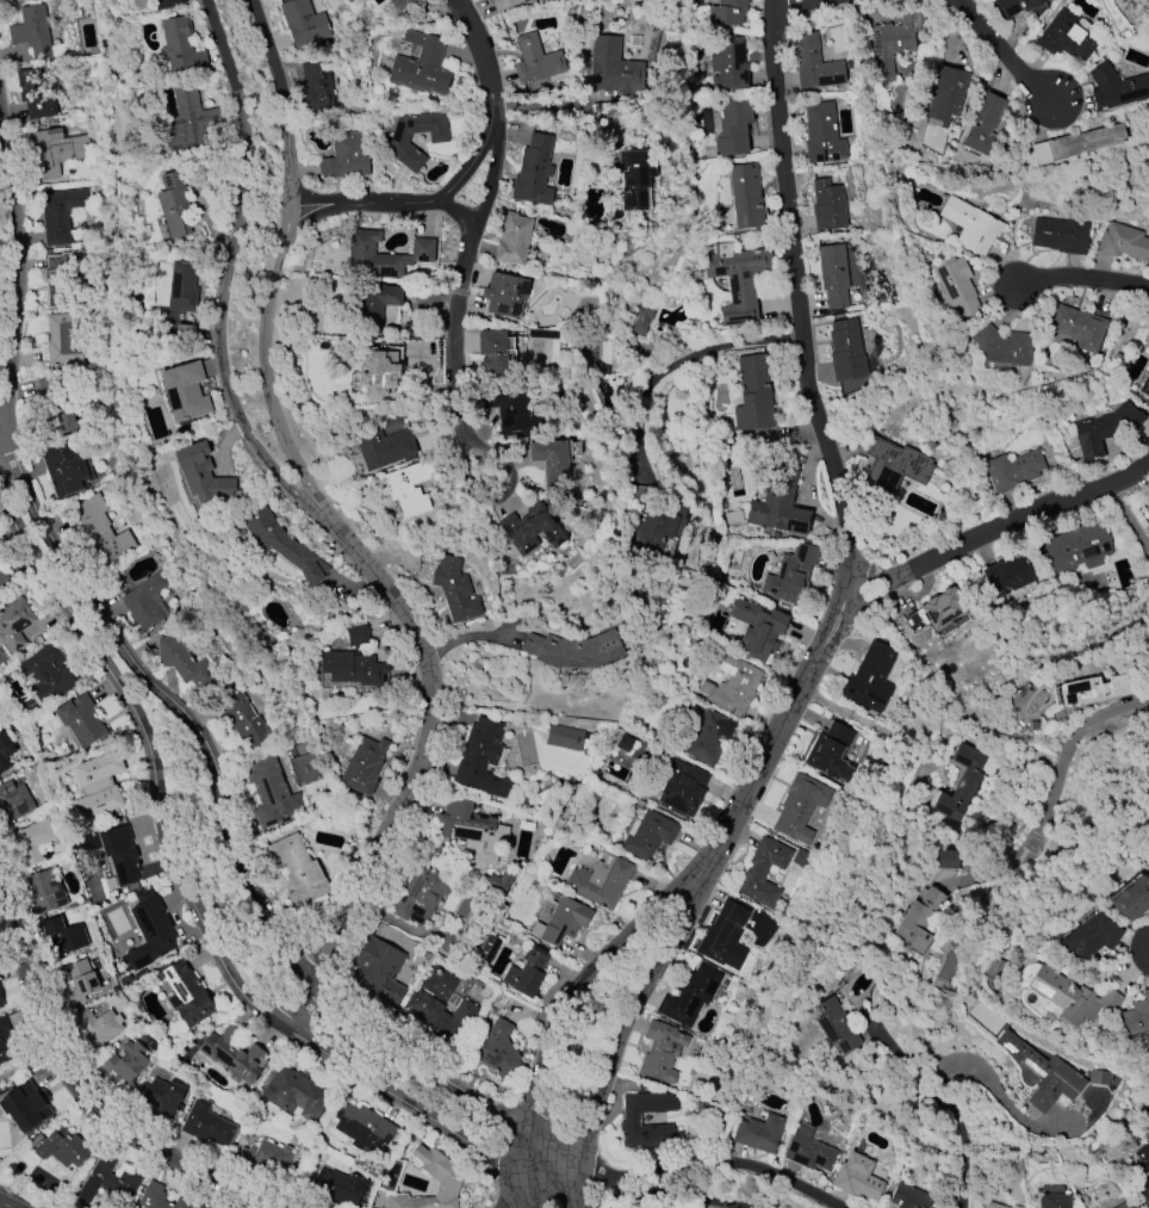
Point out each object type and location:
building: (167, 4)
building: (399, 4)
building: (505, 4)
road: (790, 4)
building: (1017, 6)
building: (727, 12)
building: (303, 23)
building: (31, 31)
building: (1066, 37)
building: (893, 42)
building: (181, 47)
road: (480, 51)
road: (1002, 51)
building: (535, 60)
building: (728, 64)
building: (421, 66)
building: (815, 66)
building: (614, 68)
building: (317, 87)
building: (1116, 88)
building: (33, 94)
building: (945, 94)
road: (554, 106)
building: (190, 119)
building: (733, 128)
building: (985, 128)
building: (822, 134)
building: (439, 138)
building: (1077, 143)
building: (56, 150)
building: (344, 157)
road: (471, 161)
building: (533, 172)
building: (632, 176)
road: (491, 178)
building: (746, 196)
road: (356, 202)
building: (174, 205)
building: (828, 205)
building: (60, 213)
road: (458, 215)
building: (970, 225)
building: (1061, 235)
building: (513, 238)
building: (1124, 242)
building: (384, 255)
road: (278, 259)
road: (19, 262)
road: (226, 270)
building: (833, 275)
road: (1081, 277)
building: (62, 280)
building: (737, 280)
building: (956, 285)
building: (182, 286)
building: (504, 293)
road: (796, 295)
building: (375, 304)
building: (642, 320)
building: (1079, 326)
road: (453, 329)
building: (62, 341)
building: (1002, 346)
building: (513, 349)
building: (846, 351)
building: (493, 353)
road: (683, 361)
building: (379, 372)
building: (855, 385)
building: (1145, 386)
building: (185, 391)
building: (754, 394)
building: (57, 405)
building: (511, 411)
building: (1105, 429)
building: (383, 447)
building: (551, 463)
building: (894, 467)
building: (66, 470)
building: (1013, 470)
building: (203, 477)
building: (409, 488)
road: (498, 497)
building: (780, 503)
road: (1026, 513)
road: (1128, 519)
building: (657, 525)
building: (530, 528)
building: (101, 532)
building: (279, 543)
building: (1079, 547)
building: (790, 572)
road: (876, 575)
building: (1008, 575)
building: (4, 580)
building: (455, 590)
road: (876, 595)
building: (145, 603)
building: (943, 608)
building: (14, 624)
building: (758, 628)
road: (464, 638)
building: (573, 650)
building: (353, 662)
building: (184, 663)
building: (48, 674)
building: (870, 679)
building: (732, 687)
building: (1089, 690)
road: (789, 707)
road: (1097, 717)
building: (243, 719)
building: (80, 720)
building: (708, 737)
building: (564, 738)
building: (831, 751)
building: (5, 752)
road: (154, 754)
building: (483, 758)
building: (364, 766)
road: (417, 766)
building: (961, 782)
building: (98, 786)
building: (683, 789)
building: (271, 793)
building: (14, 803)
building: (800, 807)
building: (472, 831)
building: (648, 835)
building: (31, 842)
road: (1037, 843)
building: (120, 853)
road: (231, 856)
building: (948, 860)
building: (297, 871)
building: (1148, 871)
building: (764, 872)
building: (1148, 875)
building: (600, 881)
building: (45, 891)
building: (421, 893)
building: (1132, 900)
building: (919, 919)
building: (563, 922)
building: (150, 931)
building: (64, 935)
building: (723, 936)
building: (1092, 937)
building: (994, 968)
building: (527, 971)
building: (378, 972)
building: (79, 983)
road: (572, 991)
building: (186, 993)
building: (689, 996)
building: (1073, 997)
building: (1, 1002)
road: (633, 1010)
building: (1137, 1015)
building: (445, 1018)
building: (98, 1026)
building: (837, 1026)
building: (5, 1041)
building: (496, 1049)
building: (660, 1051)
building: (234, 1055)
building: (124, 1063)
building: (1043, 1073)
road: (932, 1077)
building: (297, 1092)
road: (83, 1097)
building: (159, 1097)
road: (414, 1103)
building: (24, 1107)
building: (1148, 1115)
building: (628, 1122)
building: (206, 1125)
building: (362, 1127)
building: (760, 1133)
building: (62, 1147)
building: (808, 1151)
building: (266, 1158)
road: (675, 1165)
building: (1143, 1169)
building: (445, 1177)
building: (857, 1178)
building: (107, 1181)
building: (339, 1187)
road: (663, 1195)
road: (21, 1197)
building: (160, 1197)
building: (909, 1197)
building: (1055, 1201)
road: (5, 1204)
building: (199, 1206)
building: (993, 1206)
building: (1123, 1206)

